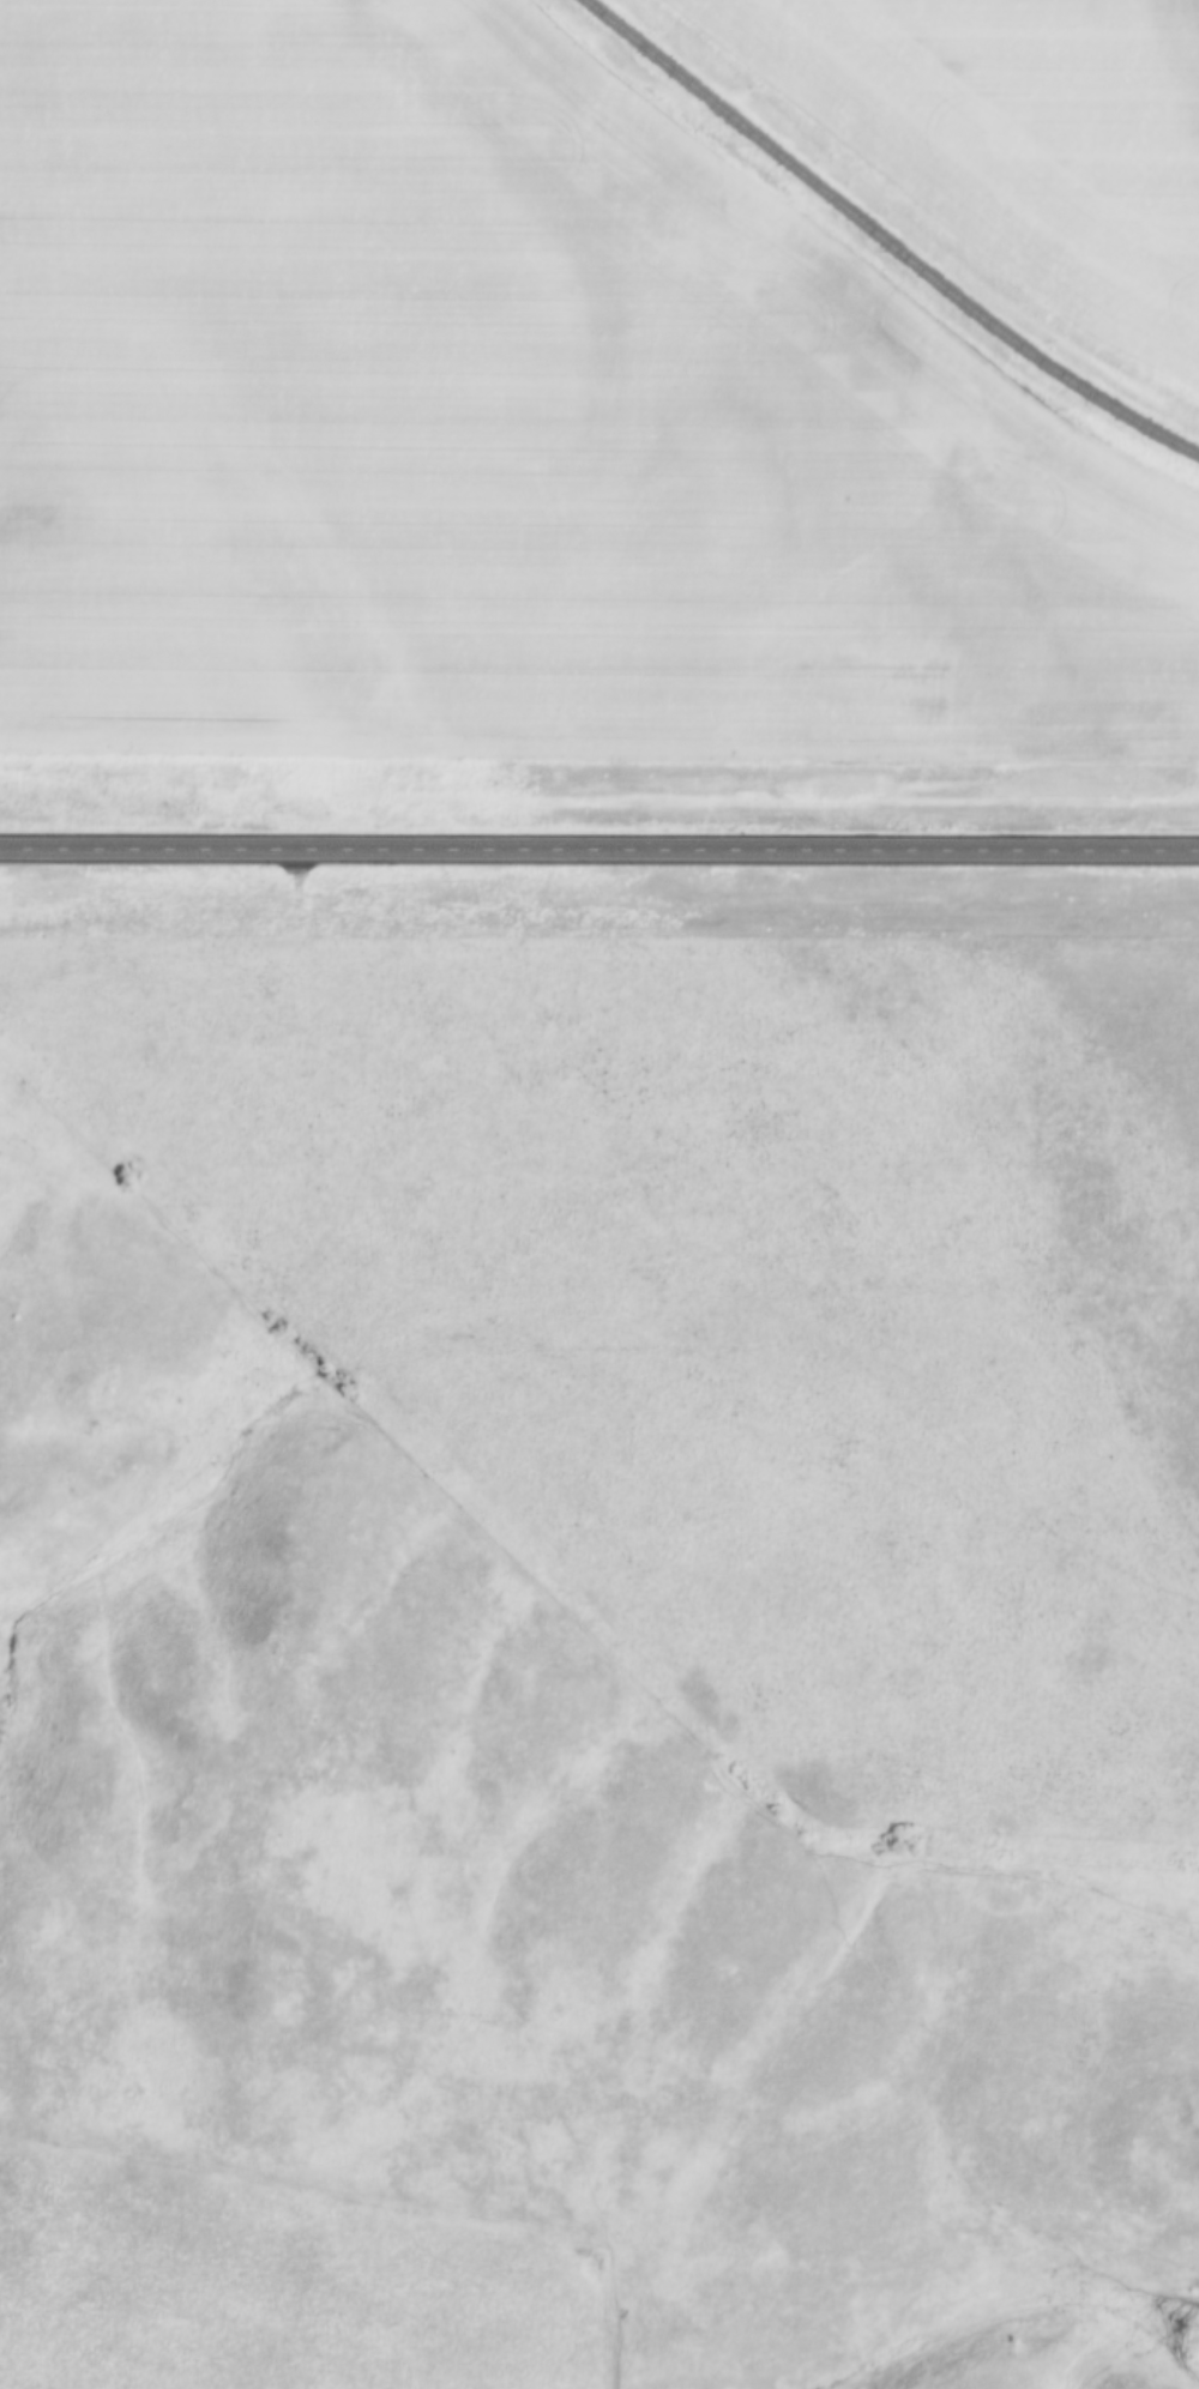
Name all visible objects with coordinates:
railway: (886, 236)
road: (598, 849)

